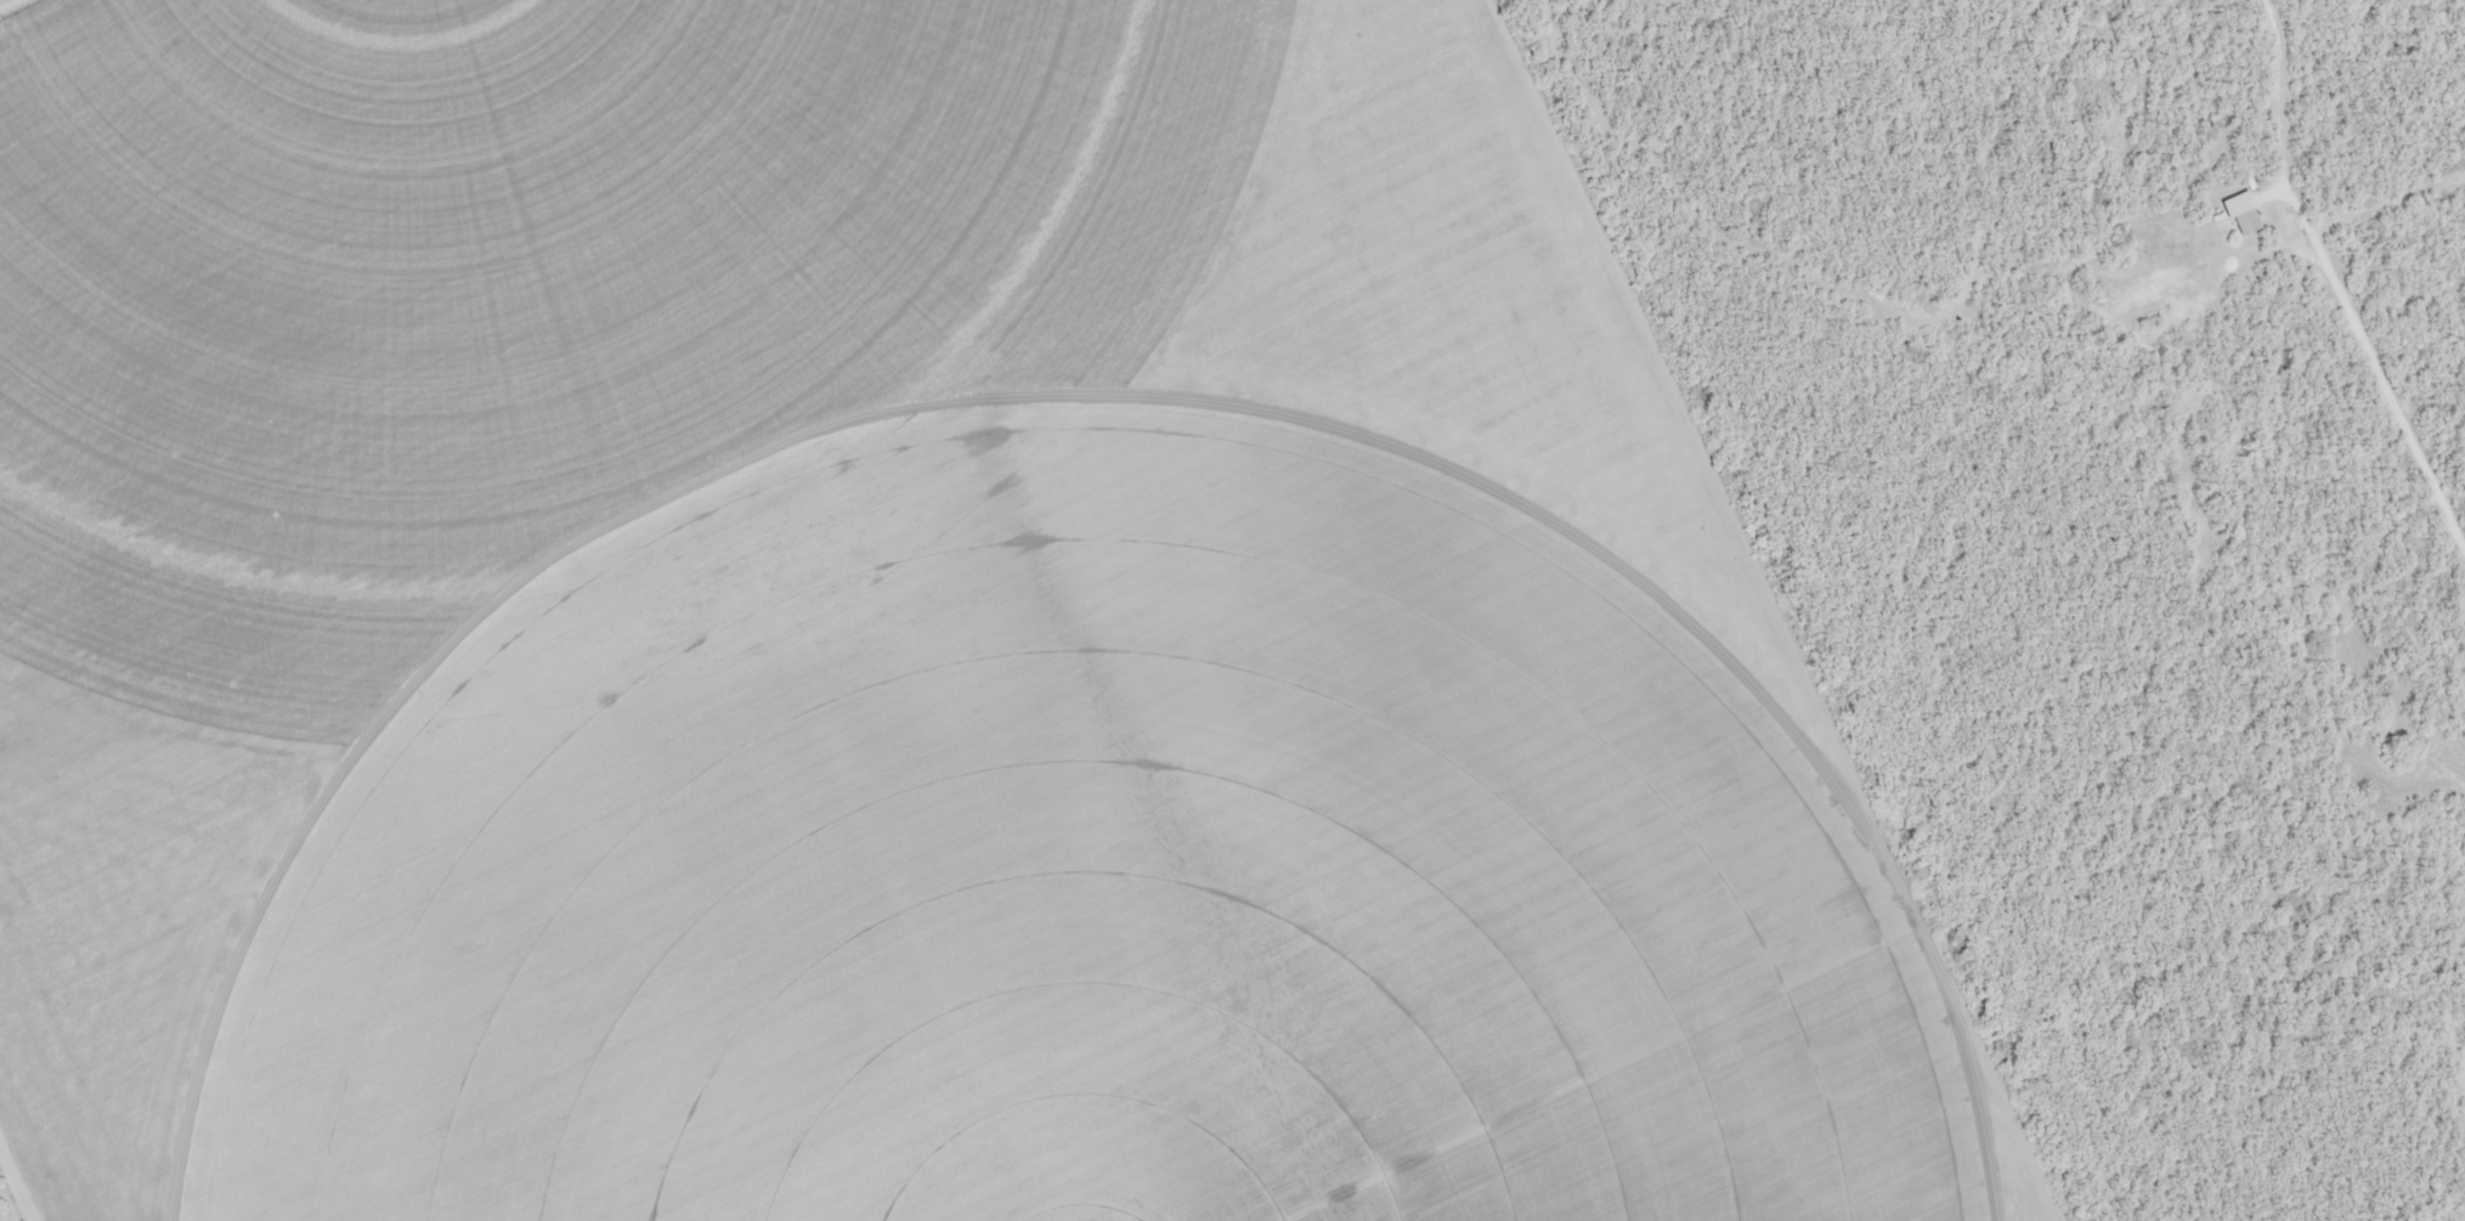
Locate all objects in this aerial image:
building: (2248, 224)
road: (2390, 435)

